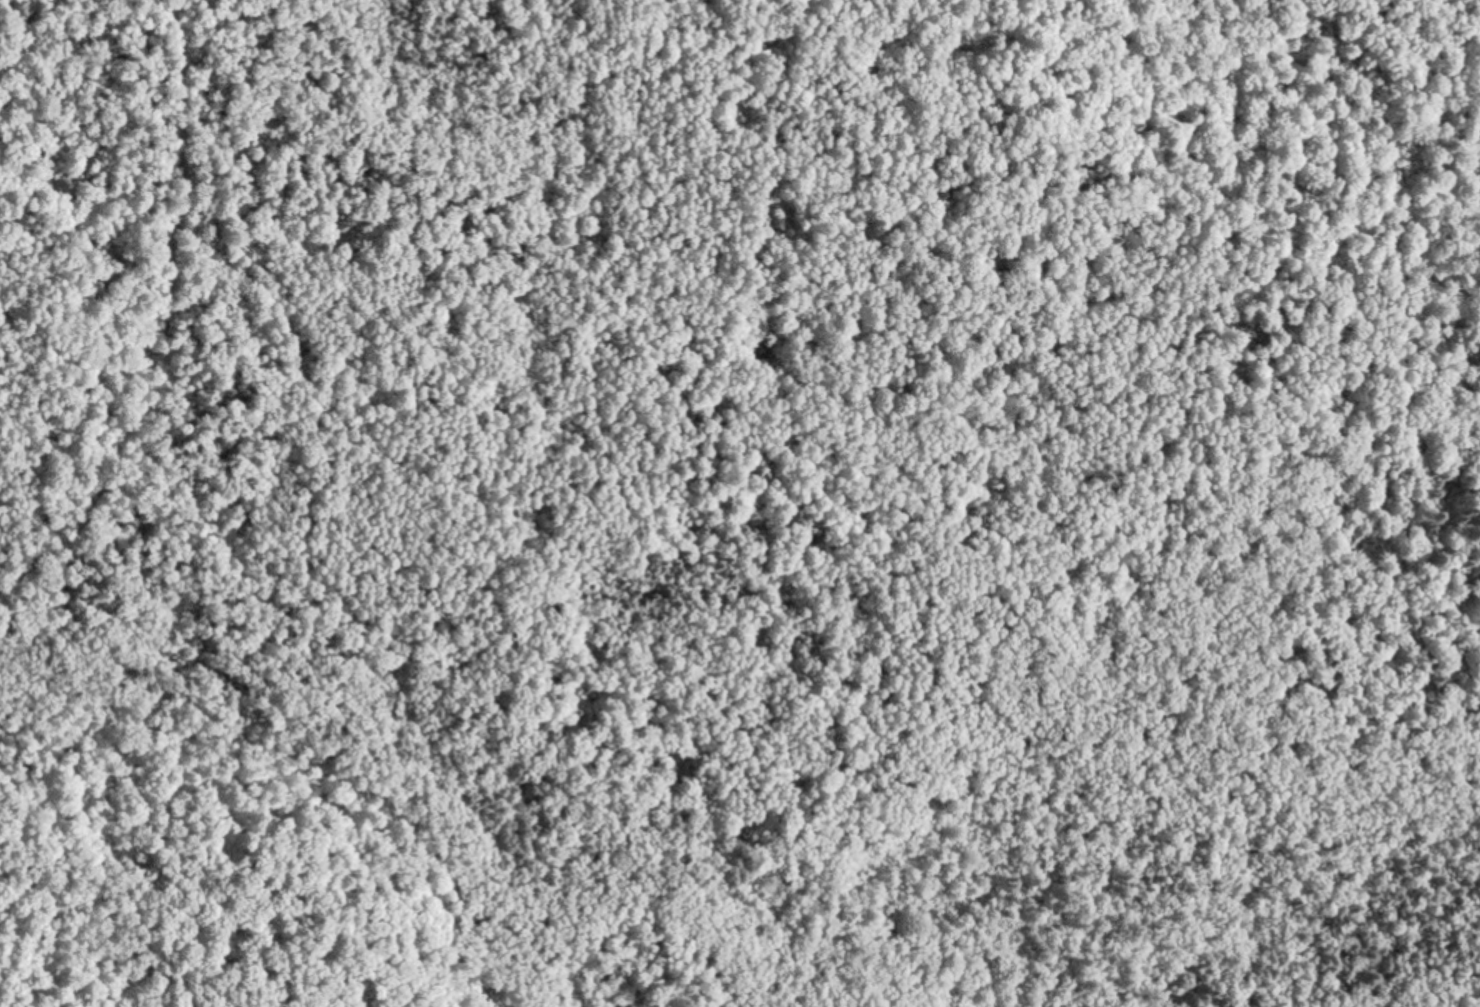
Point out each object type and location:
road: (803, 48)
road: (1201, 244)
road: (783, 260)
road: (166, 324)

